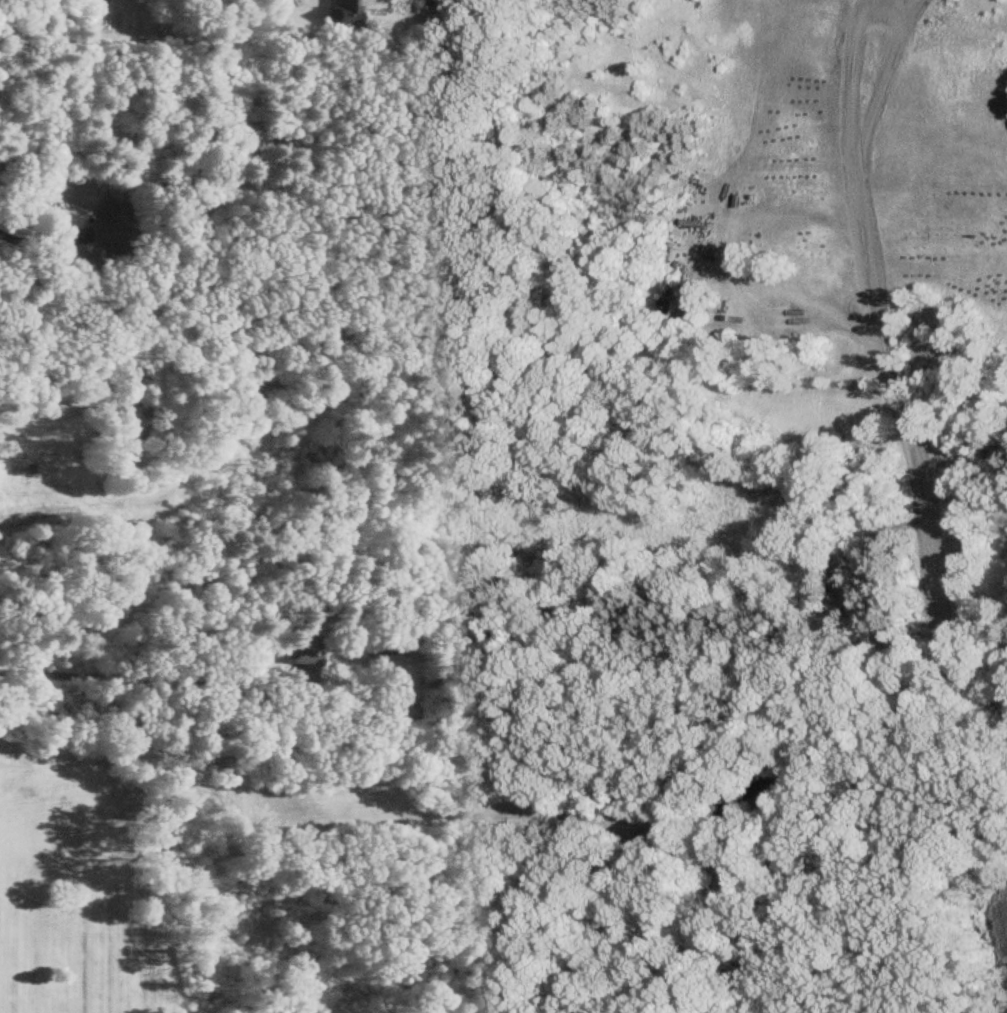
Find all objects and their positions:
building: (342, 14)
road: (911, 150)
building: (110, 229)
road: (30, 244)
building: (300, 656)
road: (122, 681)

